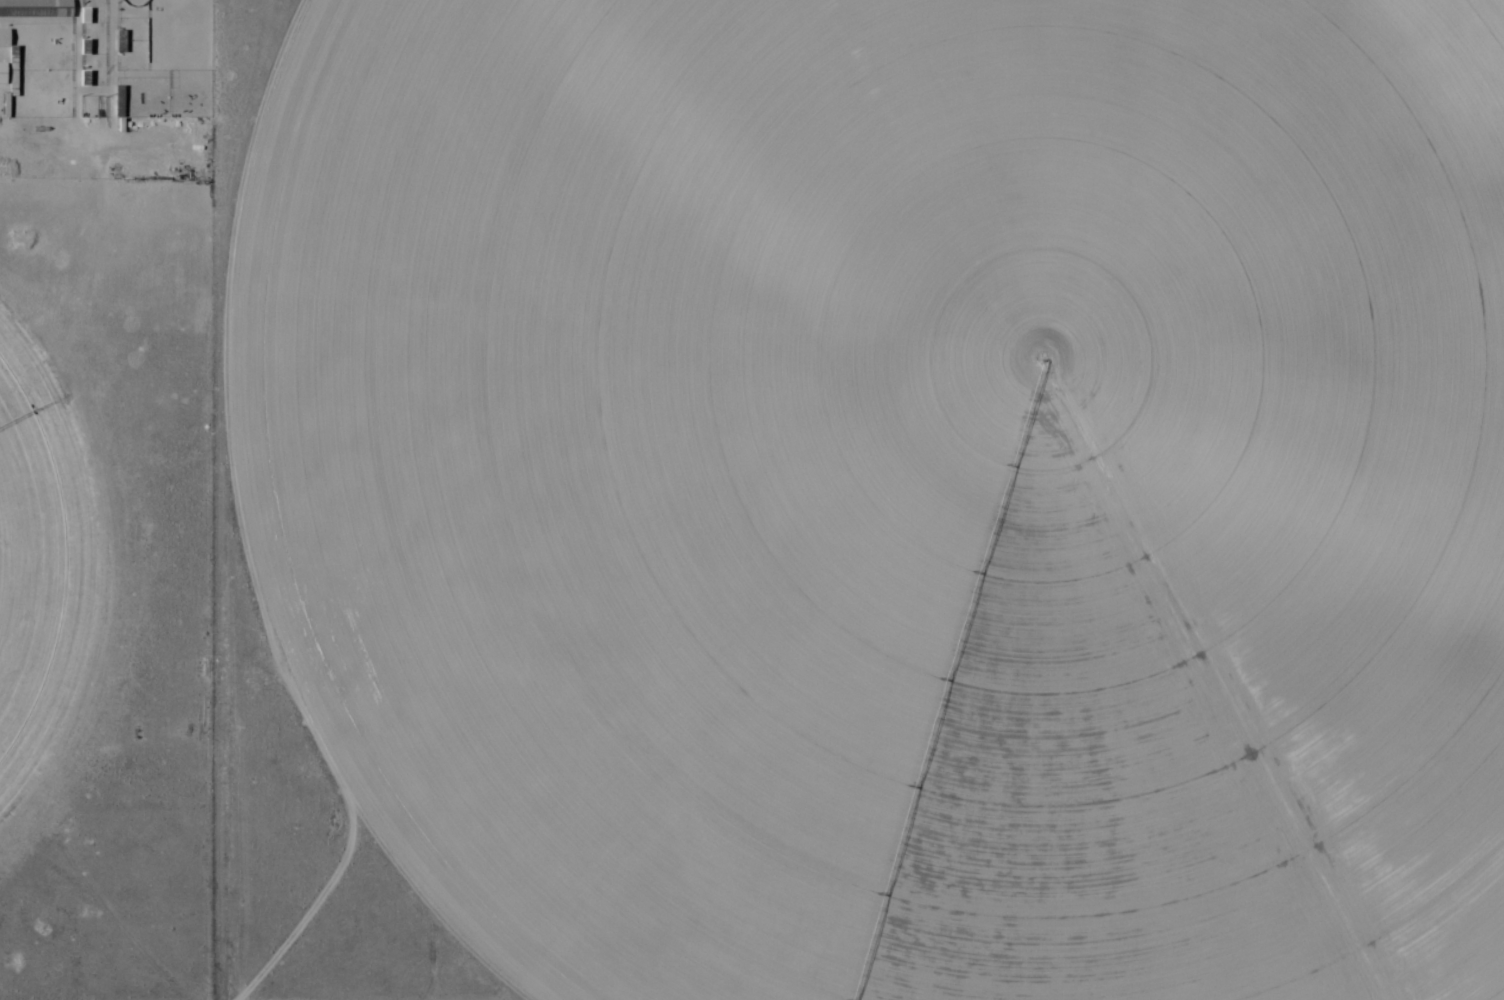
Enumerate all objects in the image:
building: (35, 9)
building: (4, 39)
crop: (907, 484)
crop: (41, 552)

